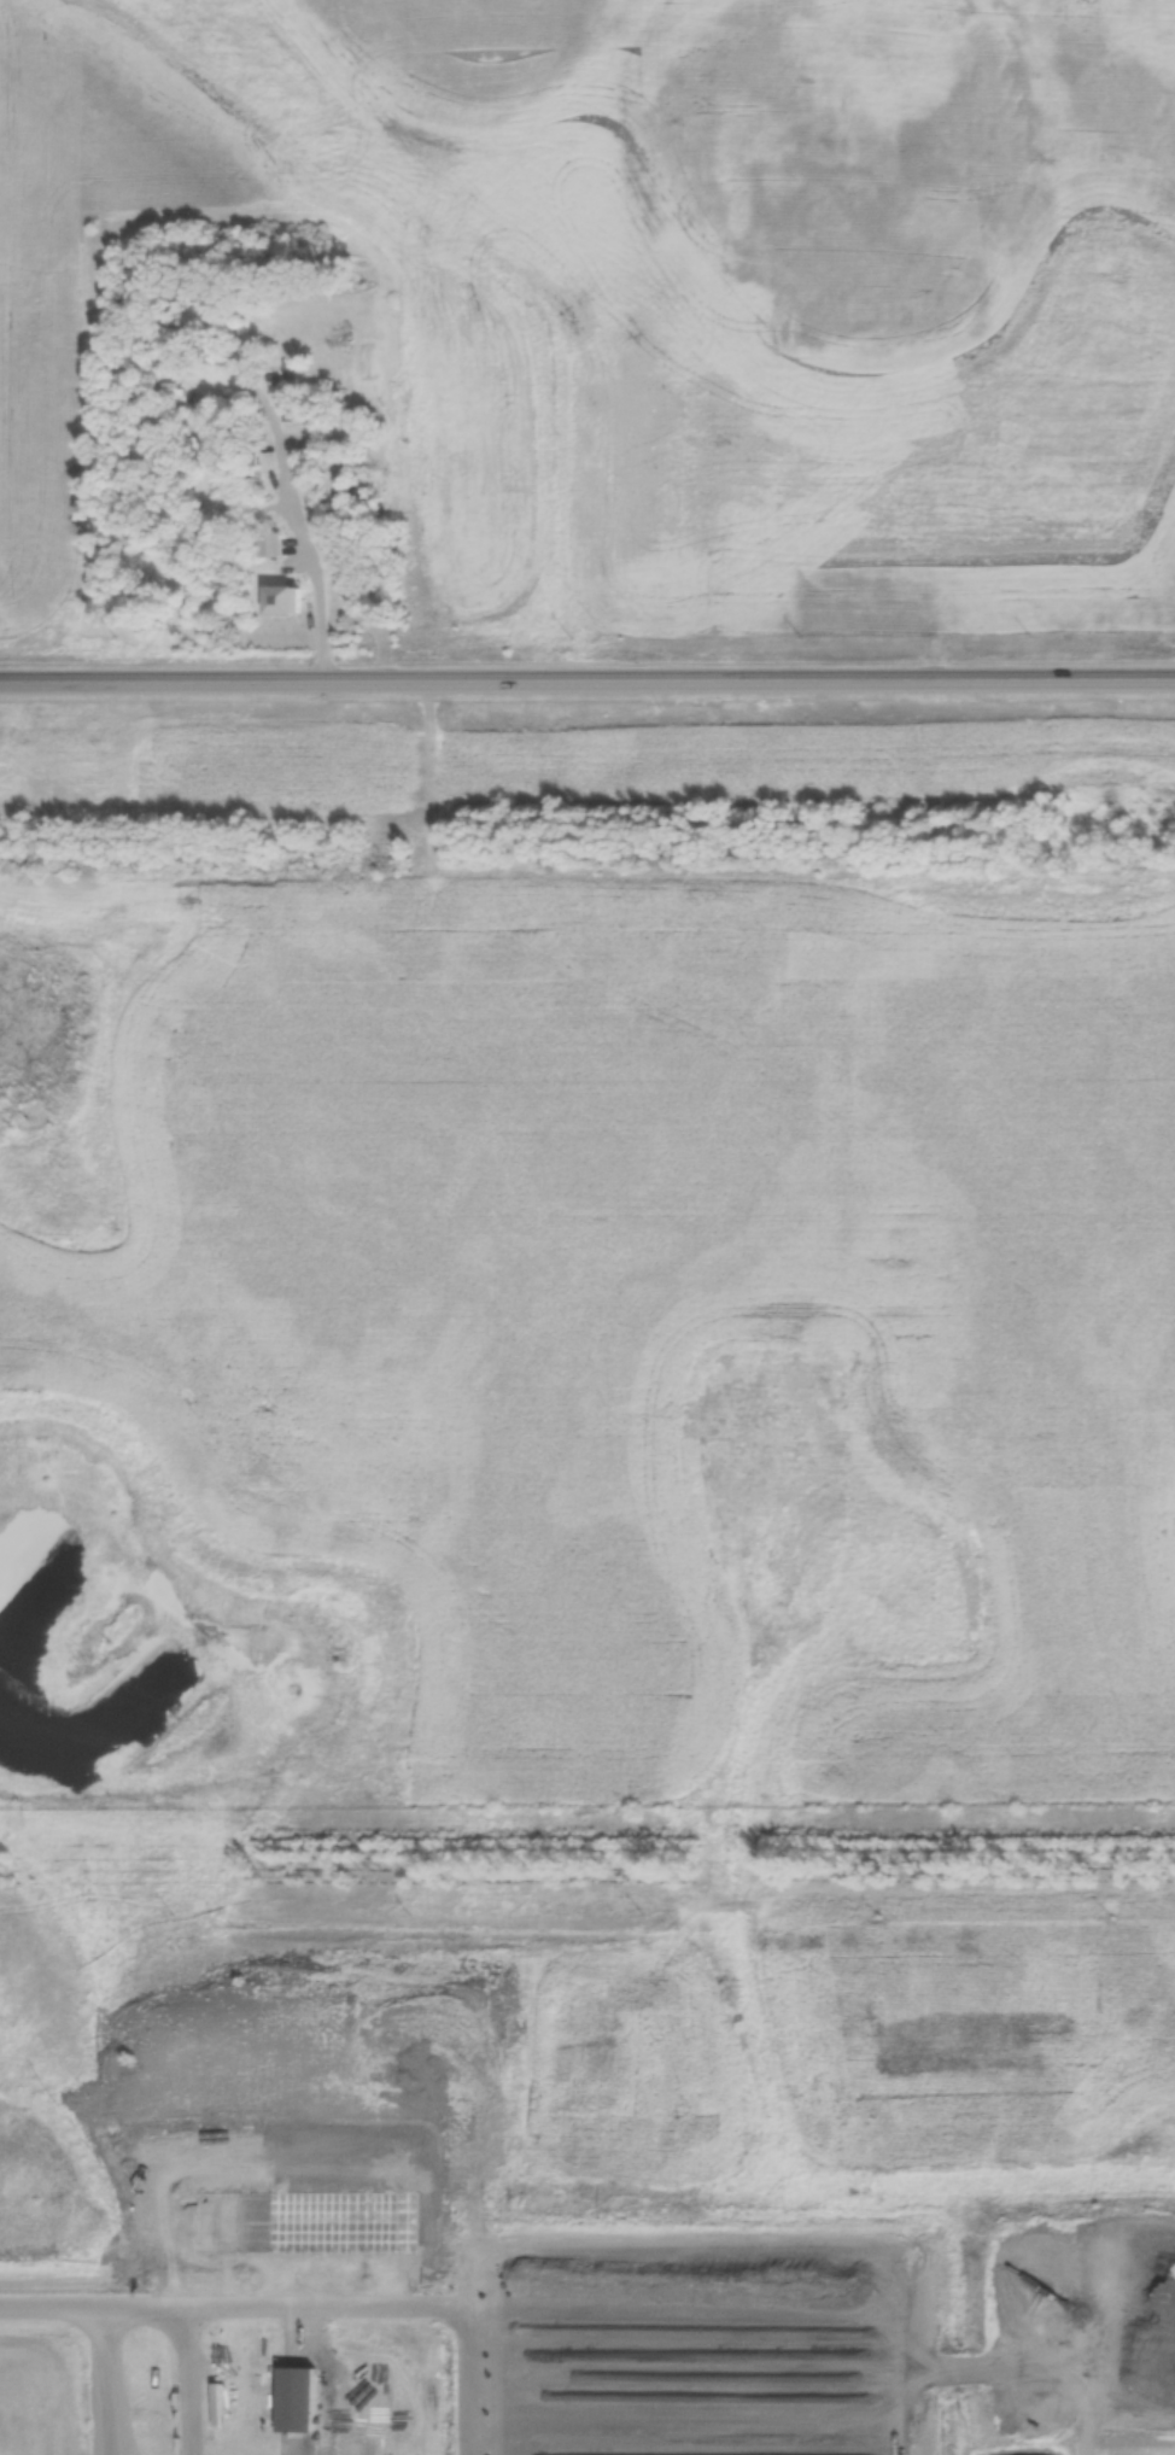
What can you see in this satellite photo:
building: (311, 411)
building: (328, 486)
road: (310, 545)
building: (277, 602)
road: (586, 685)
road: (239, 2310)
road: (478, 2365)
road: (101, 2383)
road: (193, 2383)
building: (299, 2404)

